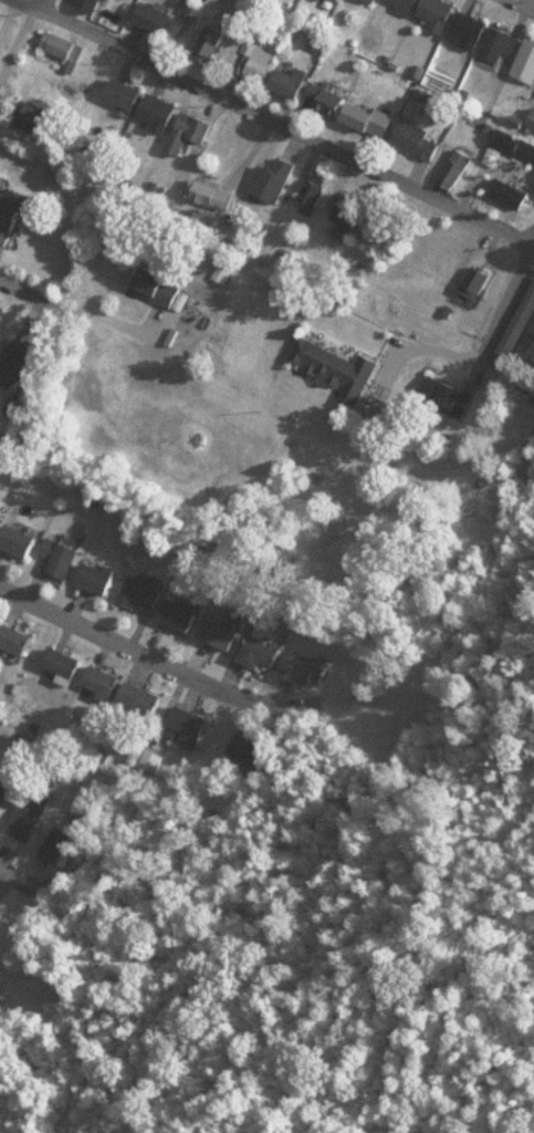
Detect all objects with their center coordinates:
building: (92, 4)
building: (428, 4)
building: (198, 10)
building: (461, 13)
building: (156, 17)
road: (11, 29)
building: (489, 30)
building: (521, 46)
building: (65, 48)
building: (212, 48)
building: (261, 63)
building: (294, 81)
building: (127, 93)
building: (328, 98)
building: (163, 108)
building: (36, 114)
road: (287, 114)
building: (371, 119)
building: (192, 132)
building: (419, 138)
building: (1, 146)
building: (459, 170)
building: (278, 180)
building: (348, 209)
building: (11, 212)
road: (505, 276)
building: (483, 282)
building: (161, 289)
road: (40, 303)
building: (521, 328)
building: (18, 365)
building: (341, 368)
building: (449, 397)
building: (2, 512)
building: (21, 541)
building: (63, 559)
building: (101, 578)
building: (145, 593)
building: (185, 614)
building: (222, 634)
building: (15, 641)
road: (119, 647)
building: (263, 652)
building: (67, 663)
building: (308, 668)
building: (106, 682)
building: (144, 701)
building: (190, 727)
building: (253, 751)
building: (3, 793)
building: (32, 819)
building: (63, 848)
road: (27, 877)
building: (2, 898)
building: (13, 927)
building: (3, 1004)

